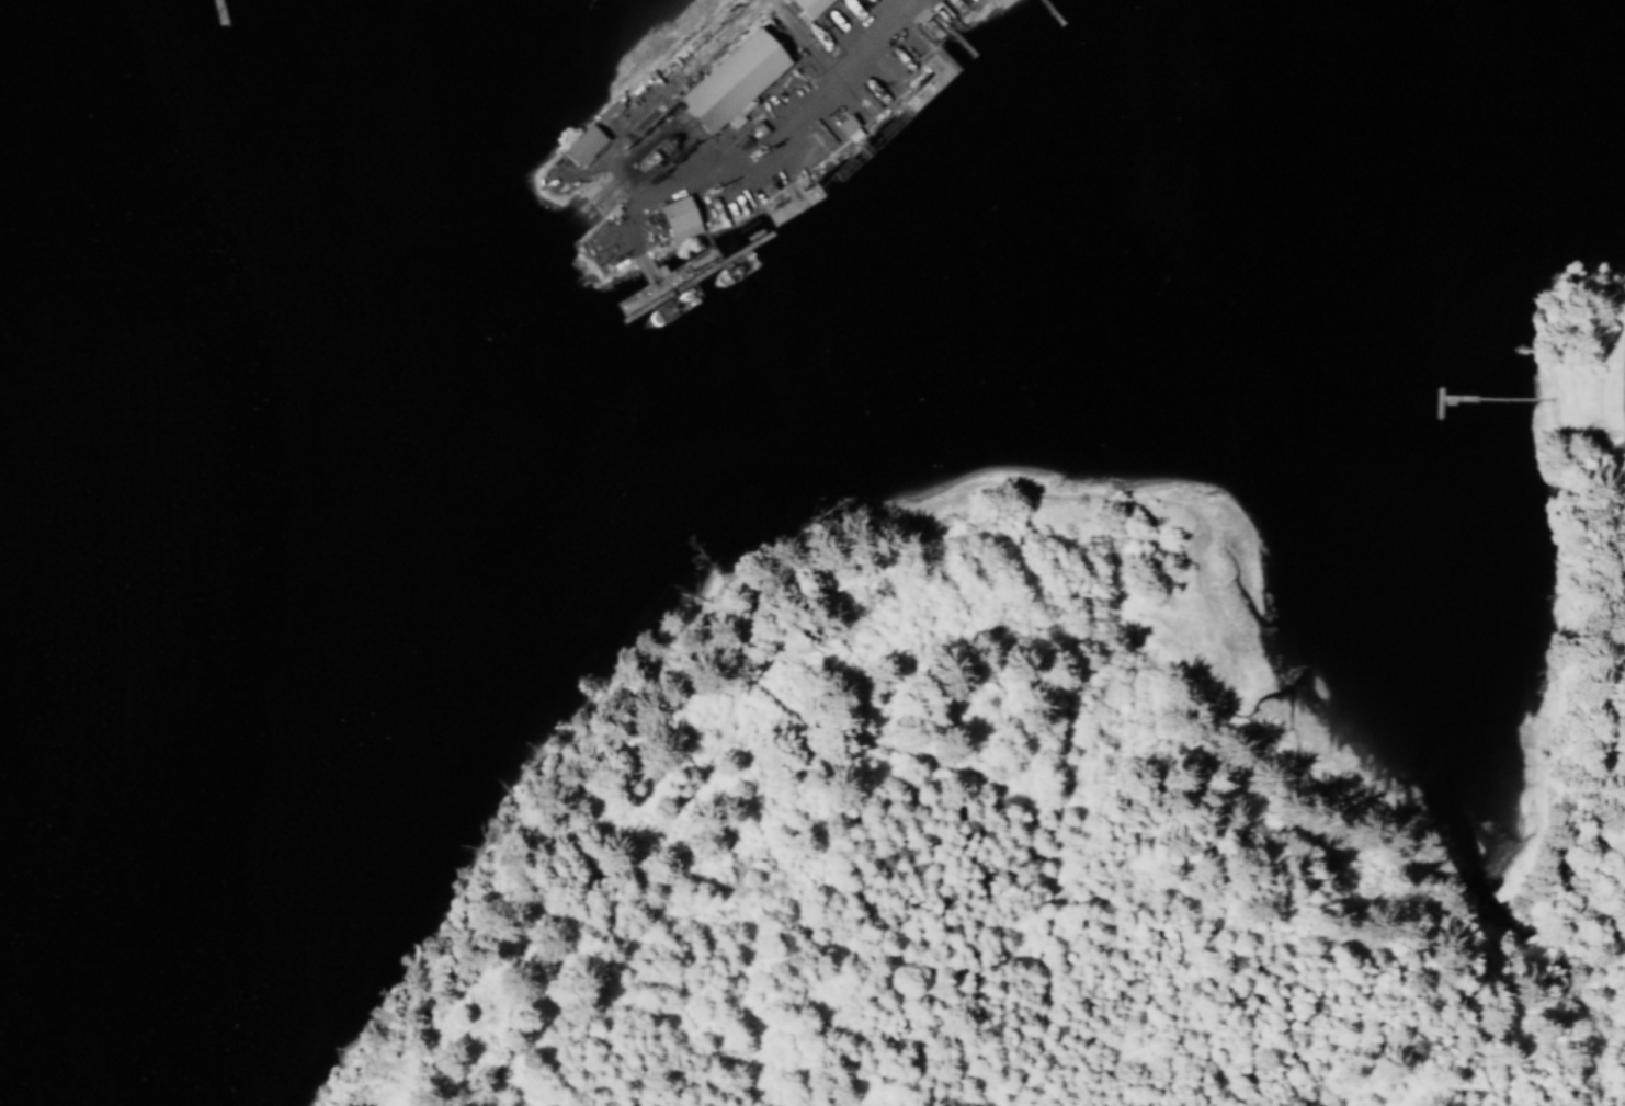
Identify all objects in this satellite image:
building: (813, 5)
pier: (215, 11)
pier: (1050, 11)
road: (1029, 15)
road: (924, 18)
pier: (961, 42)
road: (836, 68)
building: (735, 79)
pier: (928, 82)
building: (607, 111)
building: (846, 124)
building: (583, 144)
pier: (867, 144)
railway: (606, 190)
pier: (791, 201)
building: (680, 217)
pier: (661, 278)
road: (1026, 808)

